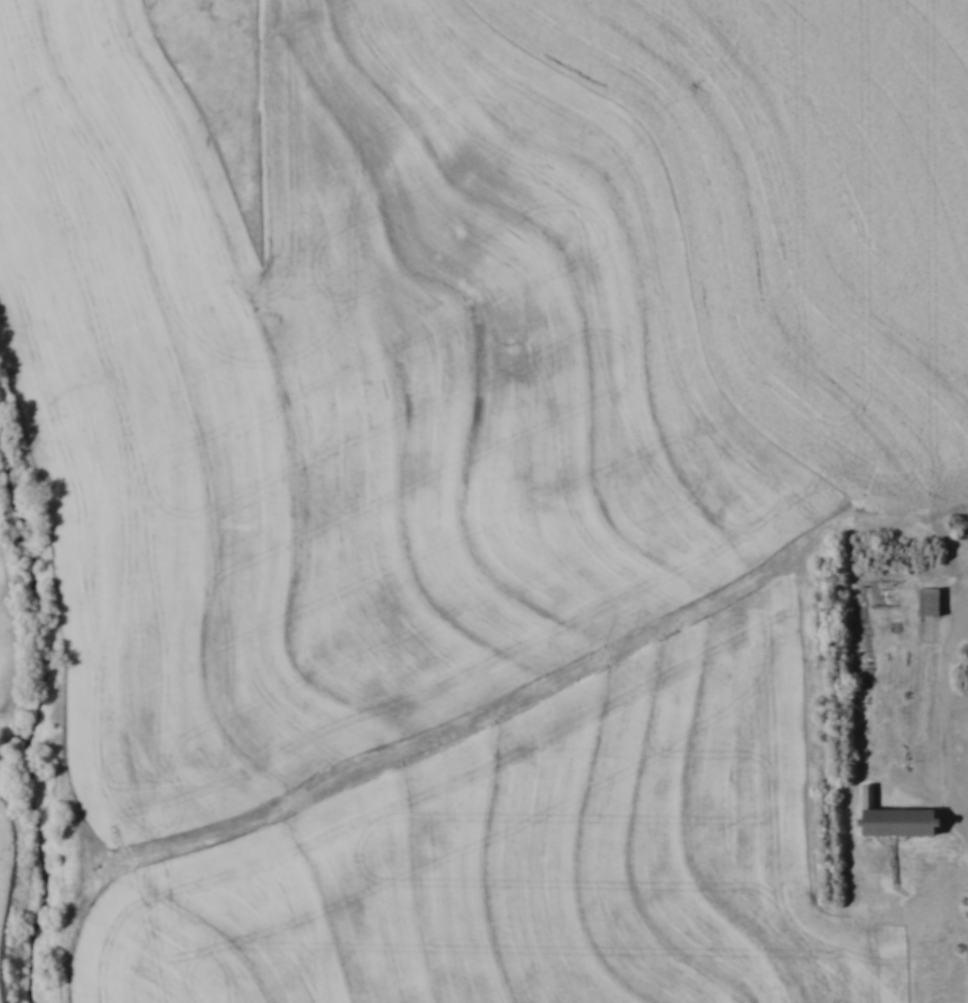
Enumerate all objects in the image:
building: (911, 823)
building: (967, 826)

